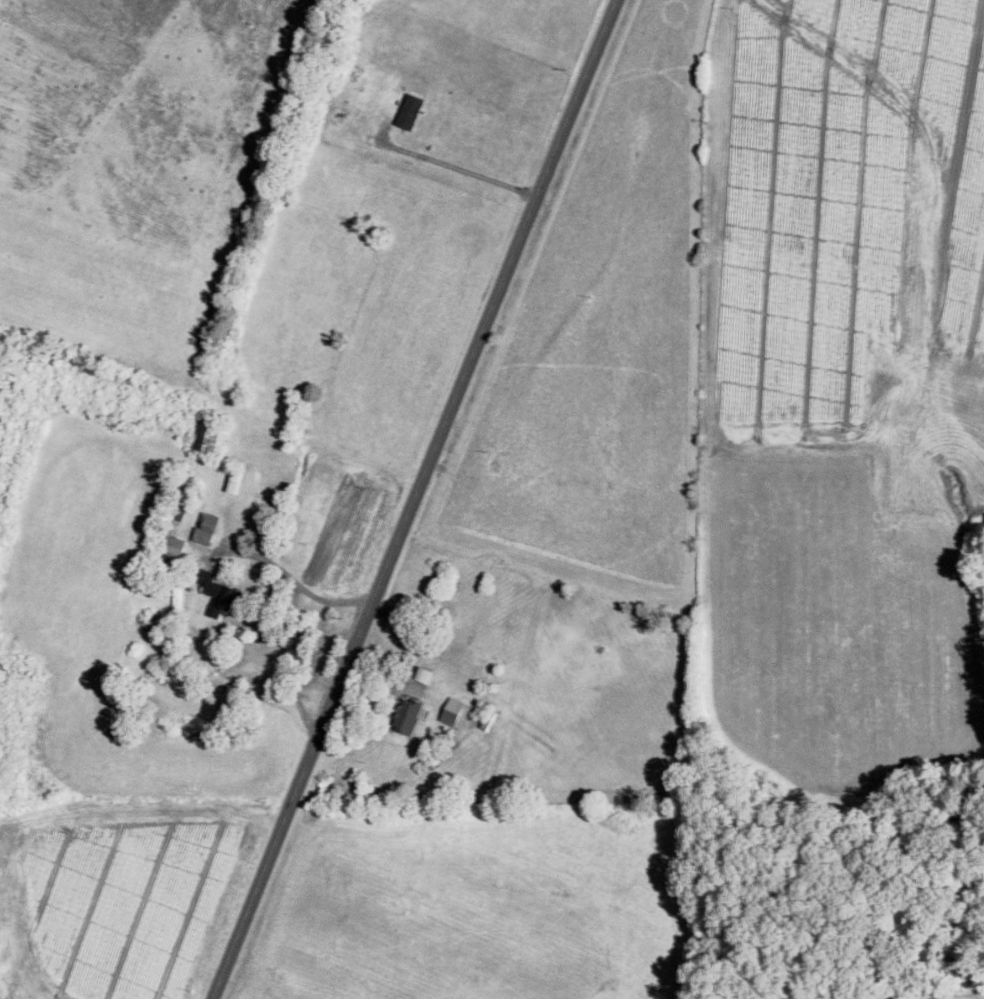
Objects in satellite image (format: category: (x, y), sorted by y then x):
building: (412, 109)
crop: (137, 166)
road: (458, 166)
building: (213, 433)
road: (415, 499)
building: (208, 527)
building: (175, 543)
road: (307, 587)
building: (221, 591)
road: (284, 662)
building: (458, 711)
building: (411, 713)

